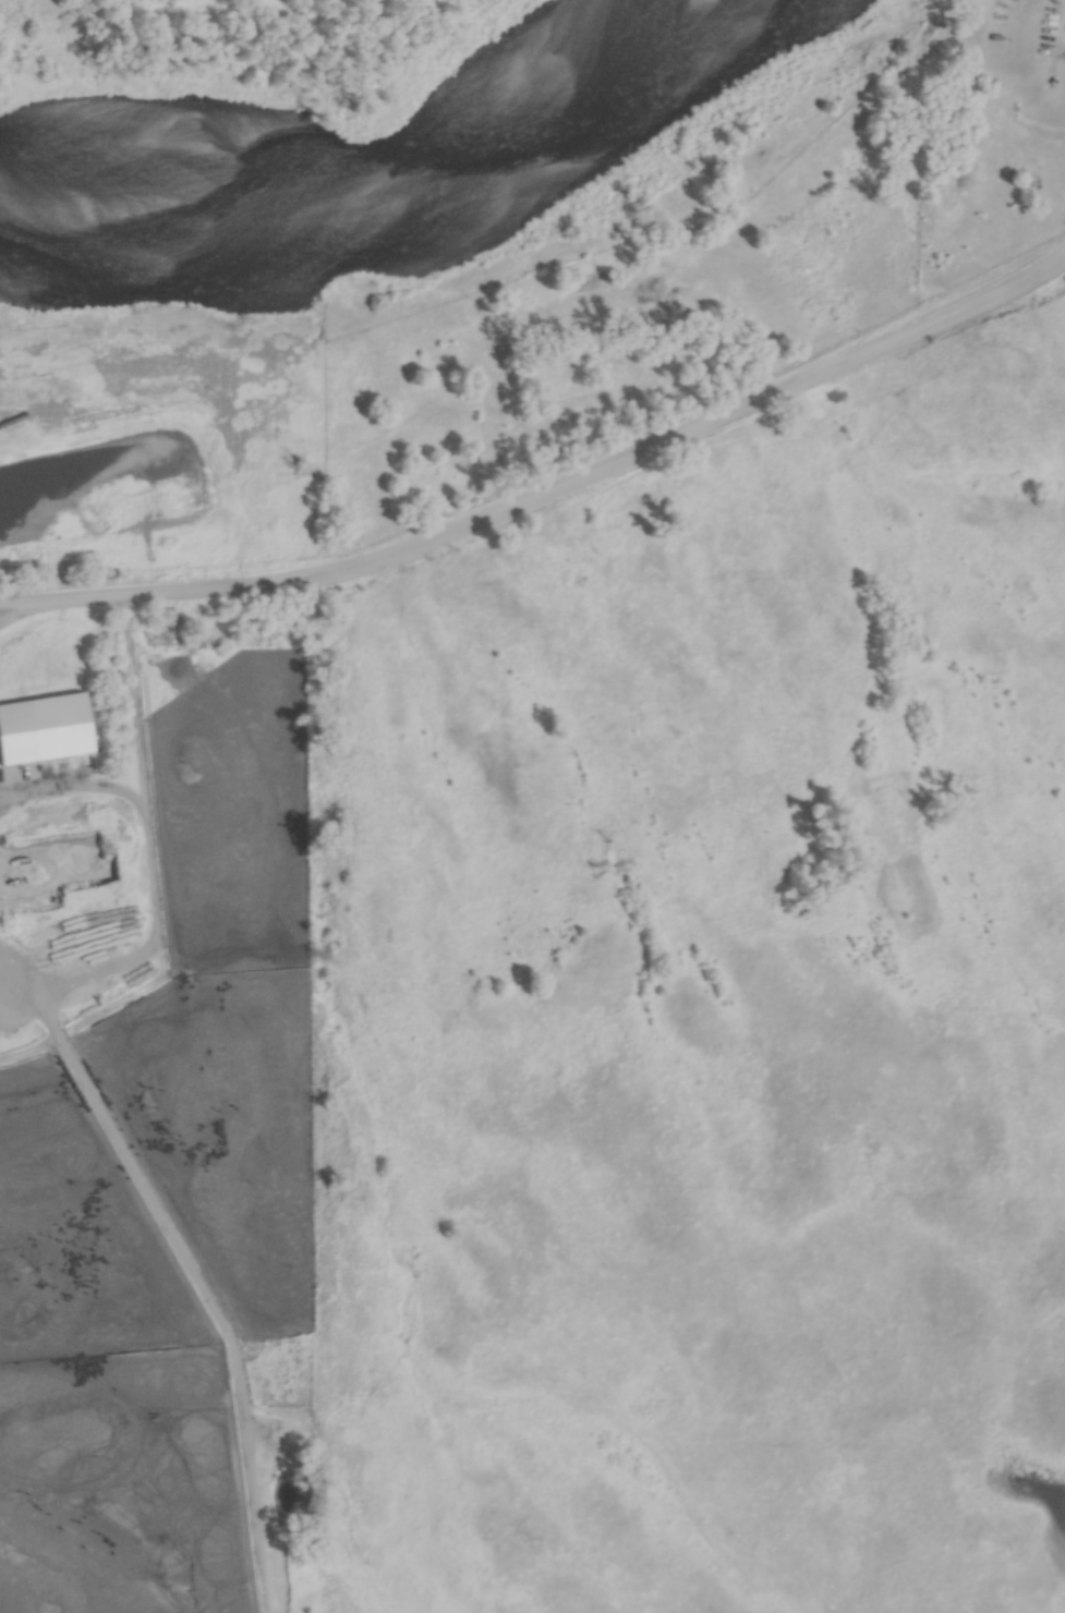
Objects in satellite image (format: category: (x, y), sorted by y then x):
river: (387, 205)
road: (549, 494)
building: (48, 731)

